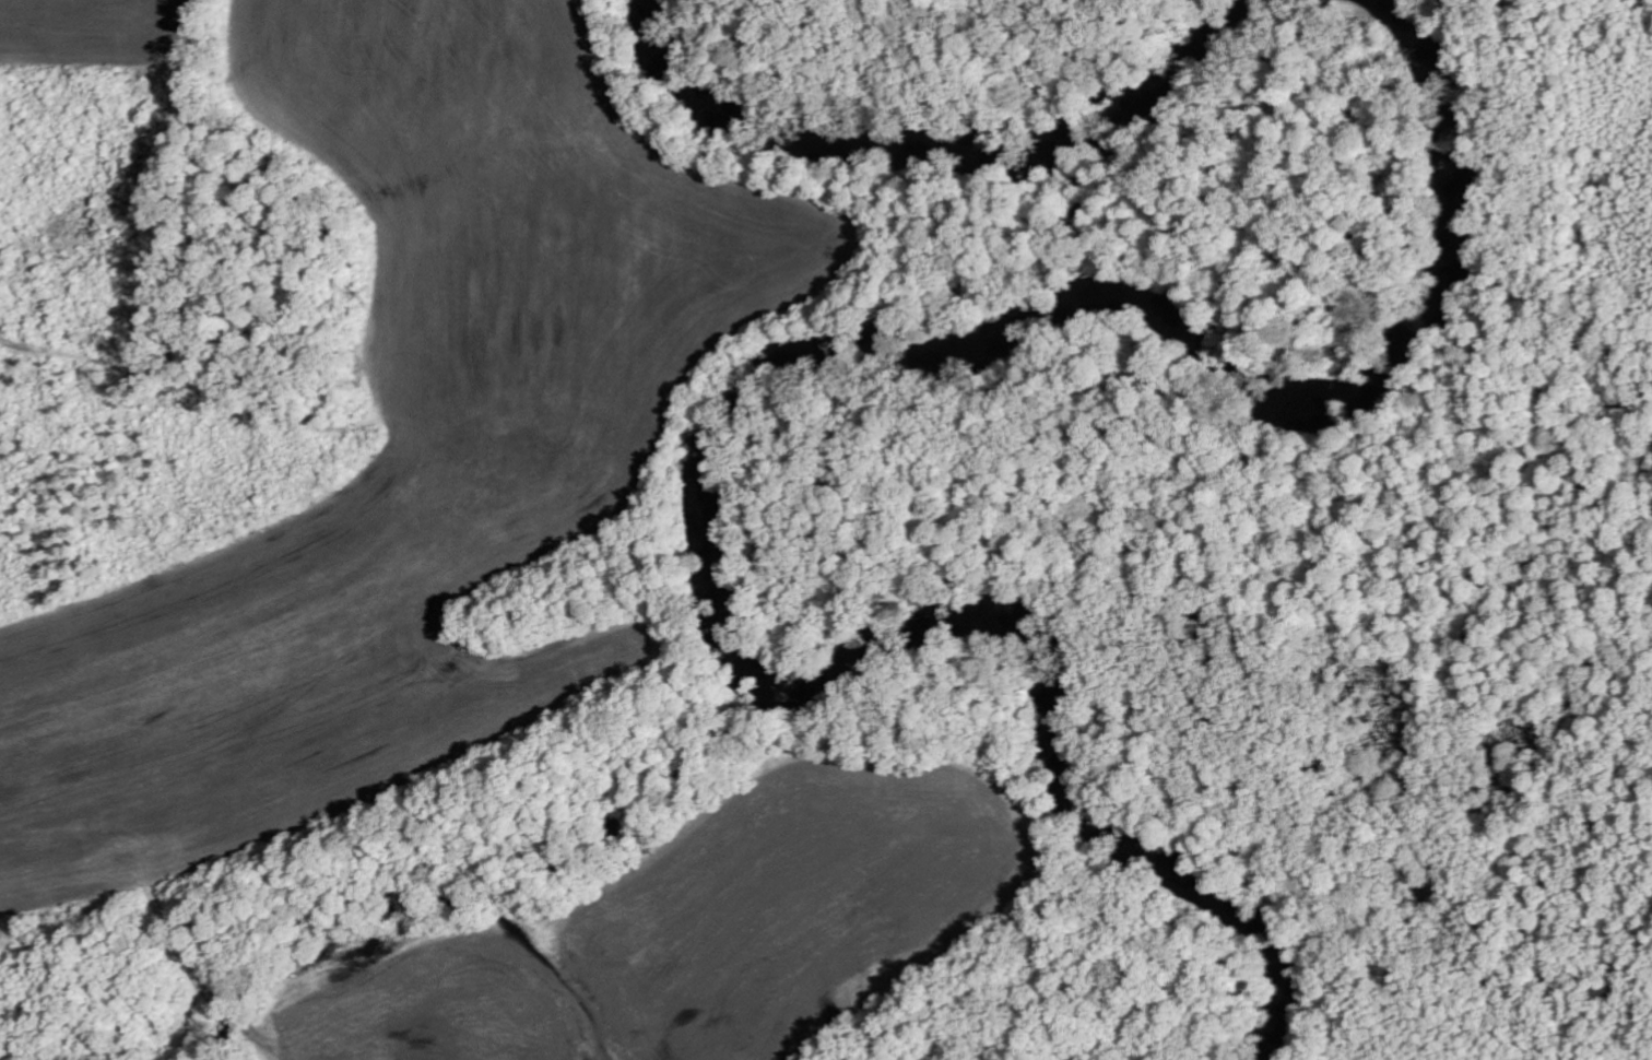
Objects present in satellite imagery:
river: (954, 144)
river: (737, 414)

